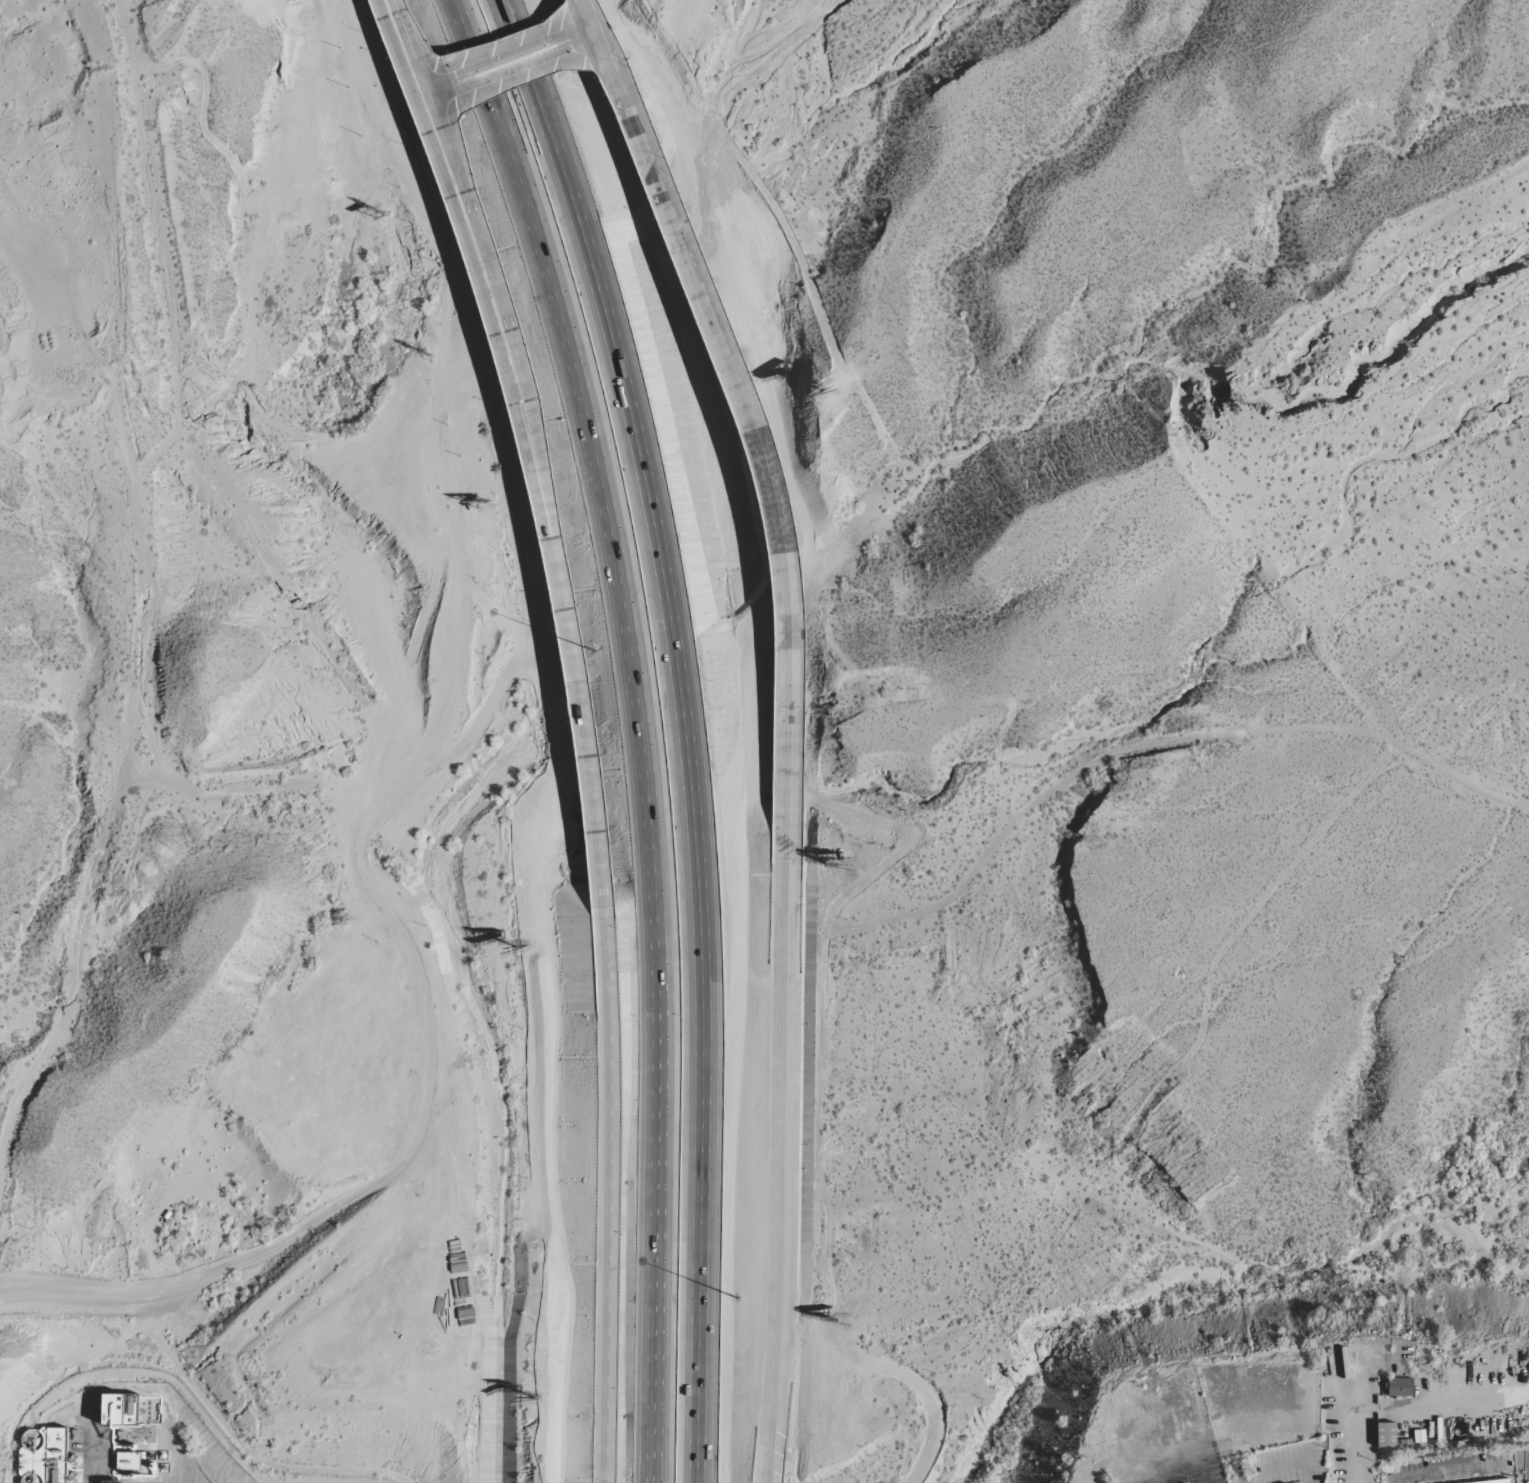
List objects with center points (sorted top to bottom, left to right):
road: (590, 14)
road: (402, 45)
road: (751, 418)
road: (540, 494)
road: (646, 728)
road: (678, 729)
road: (782, 1159)
road: (607, 1197)
building: (1400, 1387)
building: (118, 1409)
road: (1356, 1428)
building: (1385, 1435)
wastewater plant: (123, 1440)
road: (92, 1452)
building: (44, 1456)
building: (131, 1457)
building: (1447, 1459)
road: (1296, 1463)
road: (1450, 1473)
building: (1493, 1481)

